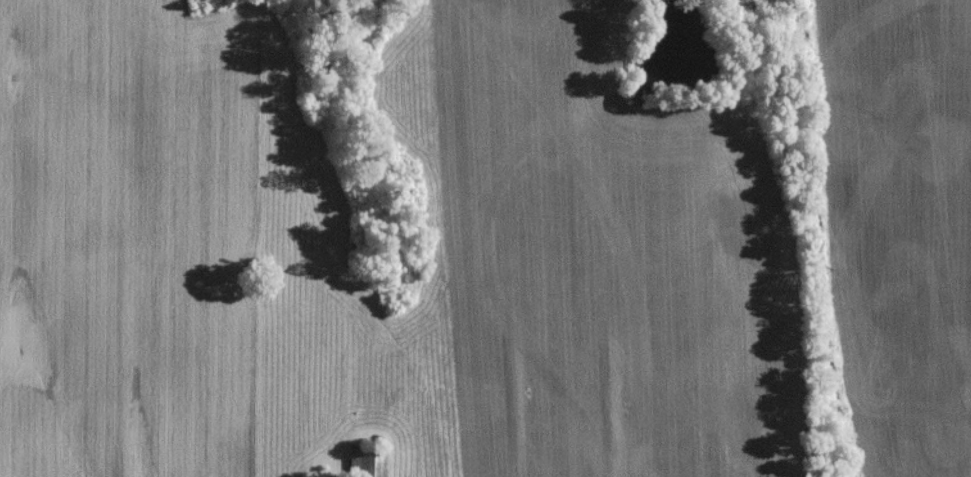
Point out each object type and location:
building: (368, 465)

